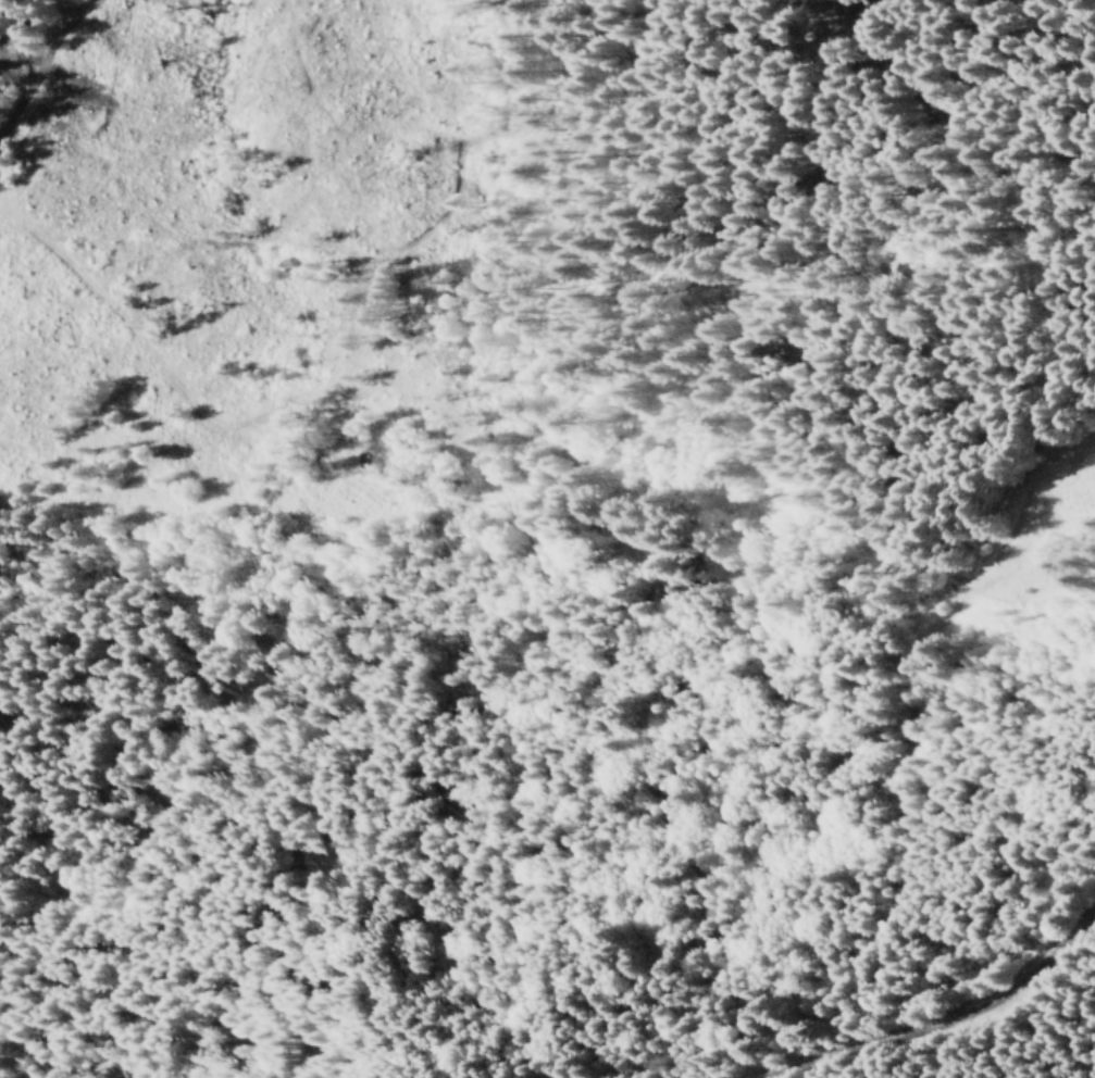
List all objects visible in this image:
road: (928, 211)

